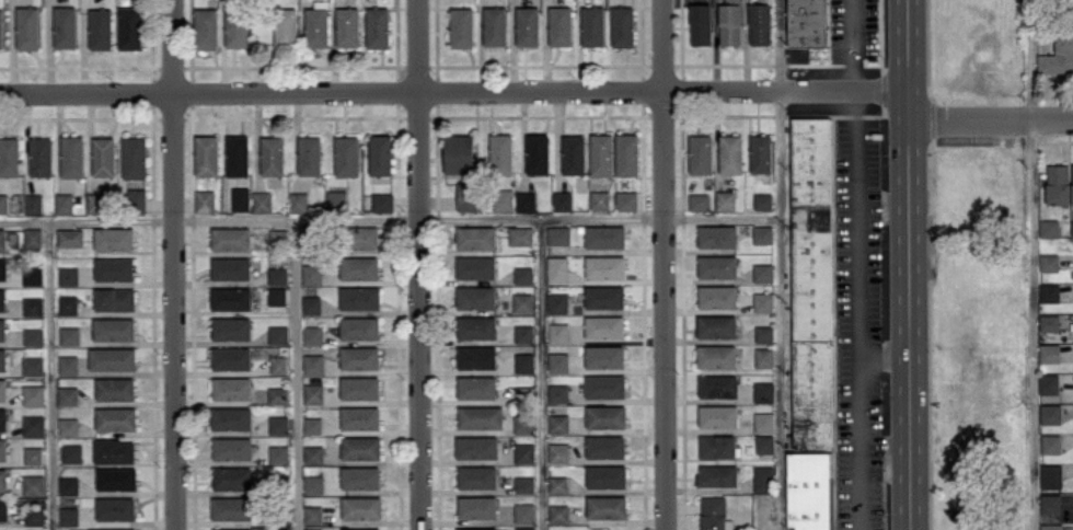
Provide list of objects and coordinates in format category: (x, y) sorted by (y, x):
building: (729, 23)
building: (759, 23)
building: (316, 24)
building: (701, 24)
building: (494, 25)
building: (527, 25)
building: (559, 25)
building: (592, 25)
building: (65, 26)
building: (129, 26)
building: (286, 26)
building: (347, 26)
building: (461, 26)
building: (622, 26)
building: (27, 27)
building: (206, 27)
building: (236, 27)
building: (377, 27)
building: (805, 27)
building: (1, 28)
building: (100, 28)
road: (847, 46)
building: (1058, 56)
road: (453, 94)
road: (990, 123)
building: (760, 152)
building: (380, 153)
building: (458, 153)
building: (500, 153)
building: (536, 153)
building: (700, 153)
building: (730, 153)
building: (206, 154)
building: (236, 154)
building: (309, 154)
building: (346, 154)
building: (573, 154)
building: (601, 154)
building: (627, 154)
building: (9, 155)
building: (72, 155)
building: (104, 155)
building: (272, 155)
building: (41, 157)
building: (134, 157)
building: (1058, 184)
building: (1072, 185)
building: (468, 195)
building: (240, 198)
building: (336, 198)
building: (501, 198)
building: (136, 199)
building: (562, 199)
building: (599, 199)
building: (625, 199)
building: (725, 199)
road: (992, 199)
building: (205, 200)
building: (262, 200)
building: (382, 200)
building: (524, 200)
building: (699, 200)
building: (763, 200)
building: (298, 201)
building: (3, 203)
building: (33, 203)
building: (64, 203)
building: (97, 203)
road: (332, 224)
road: (723, 226)
building: (1049, 228)
building: (1072, 229)
building: (278, 234)
building: (558, 234)
building: (762, 234)
building: (520, 235)
building: (604, 235)
building: (716, 235)
building: (32, 237)
building: (69, 237)
building: (475, 237)
building: (230, 238)
building: (364, 238)
building: (2, 239)
building: (114, 239)
building: (1049, 262)
road: (418, 264)
road: (665, 264)
road: (782, 264)
road: (908, 264)
road: (173, 265)
road: (1035, 265)
building: (604, 266)
building: (717, 266)
building: (231, 267)
building: (359, 267)
building: (475, 267)
building: (3, 268)
building: (114, 268)
building: (557, 269)
building: (762, 272)
building: (311, 274)
building: (523, 274)
building: (32, 275)
building: (68, 275)
building: (277, 275)
building: (812, 283)
building: (1048, 292)
building: (276, 295)
building: (717, 296)
building: (359, 297)
building: (475, 297)
building: (603, 297)
building: (114, 298)
building: (230, 298)
building: (2, 299)
building: (763, 301)
building: (522, 302)
building: (557, 302)
building: (311, 303)
building: (67, 304)
building: (33, 306)
road: (858, 310)
building: (1049, 322)
building: (716, 325)
building: (476, 326)
building: (604, 326)
building: (114, 327)
building: (231, 327)
building: (359, 327)
building: (2, 329)
building: (558, 332)
building: (523, 333)
building: (763, 333)
building: (278, 334)
building: (312, 334)
building: (69, 335)
building: (33, 336)
road: (884, 353)
building: (1049, 353)
building: (604, 356)
building: (716, 356)
building: (763, 356)
building: (359, 357)
building: (476, 357)
building: (2, 358)
building: (112, 358)
building: (231, 358)
building: (557, 361)
building: (523, 362)
building: (278, 364)
building: (313, 364)
building: (33, 365)
building: (68, 365)
road: (295, 377)
road: (542, 377)
road: (48, 378)
building: (1048, 383)
building: (604, 385)
building: (717, 385)
building: (476, 387)
building: (115, 388)
building: (231, 388)
building: (359, 388)
building: (2, 389)
building: (763, 391)
building: (557, 392)
building: (313, 393)
building: (33, 394)
building: (277, 394)
building: (68, 395)
building: (1050, 413)
building: (605, 416)
building: (717, 416)
building: (230, 417)
building: (360, 417)
building: (480, 417)
building: (3, 418)
building: (115, 418)
building: (763, 422)
building: (522, 423)
building: (557, 423)
building: (278, 424)
building: (33, 425)
building: (312, 425)
building: (68, 426)
building: (764, 442)
building: (1050, 443)
building: (604, 446)
building: (717, 446)
building: (360, 447)
building: (476, 447)
building: (231, 448)
building: (2, 449)
building: (114, 451)
building: (523, 452)
building: (558, 452)
building: (71, 453)
building: (278, 453)
building: (313, 453)
building: (33, 456)
road: (885, 460)
building: (717, 474)
building: (605, 475)
building: (1050, 475)
building: (476, 476)
building: (116, 477)
building: (232, 477)
building: (360, 477)
building: (763, 477)
building: (3, 479)
building: (557, 483)
building: (33, 484)
building: (313, 484)
building: (524, 484)
building: (68, 485)
building: (809, 491)
building: (1050, 503)
building: (476, 506)
building: (607, 506)
building: (361, 507)
building: (3, 508)
building: (115, 508)
building: (230, 508)
building: (523, 512)
building: (558, 512)
building: (313, 514)
building: (714, 514)
building: (34, 515)
building: (68, 515)
building: (1050, 526)
building: (279, 528)
building: (524, 528)
building: (34, 529)
building: (100, 529)
building: (234, 529)
building: (313, 529)
building: (360, 529)
building: (476, 529)

